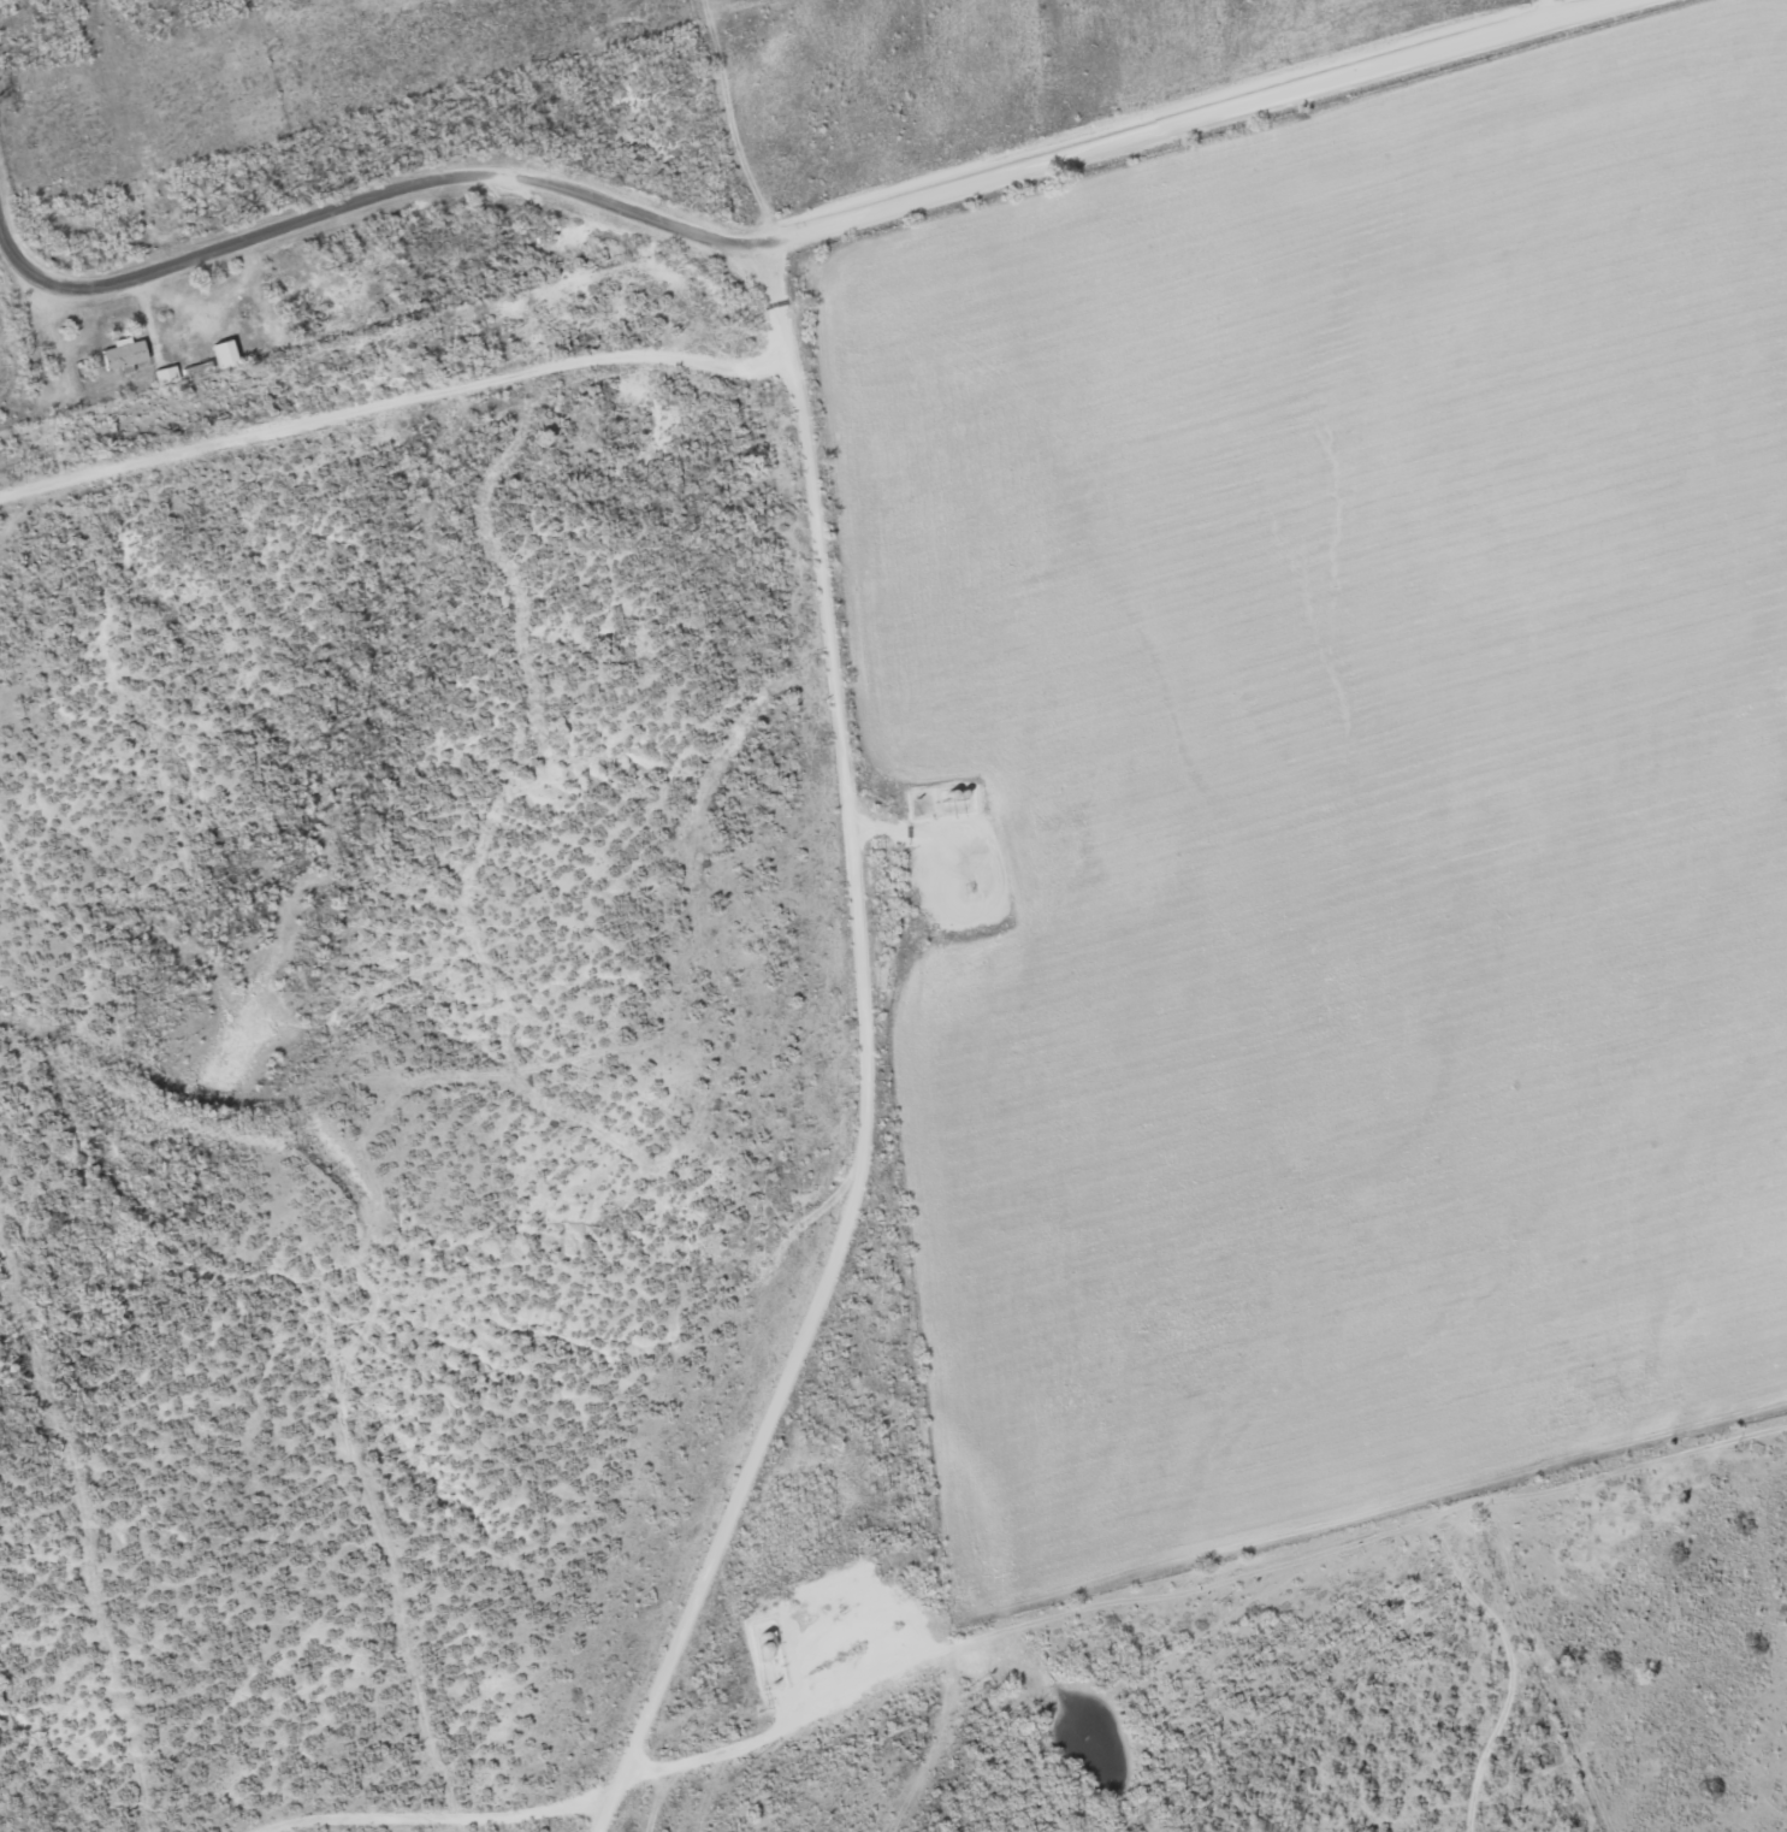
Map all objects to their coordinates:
road: (806, 231)
building: (125, 353)
building: (226, 354)
building: (167, 374)
road: (866, 1062)

